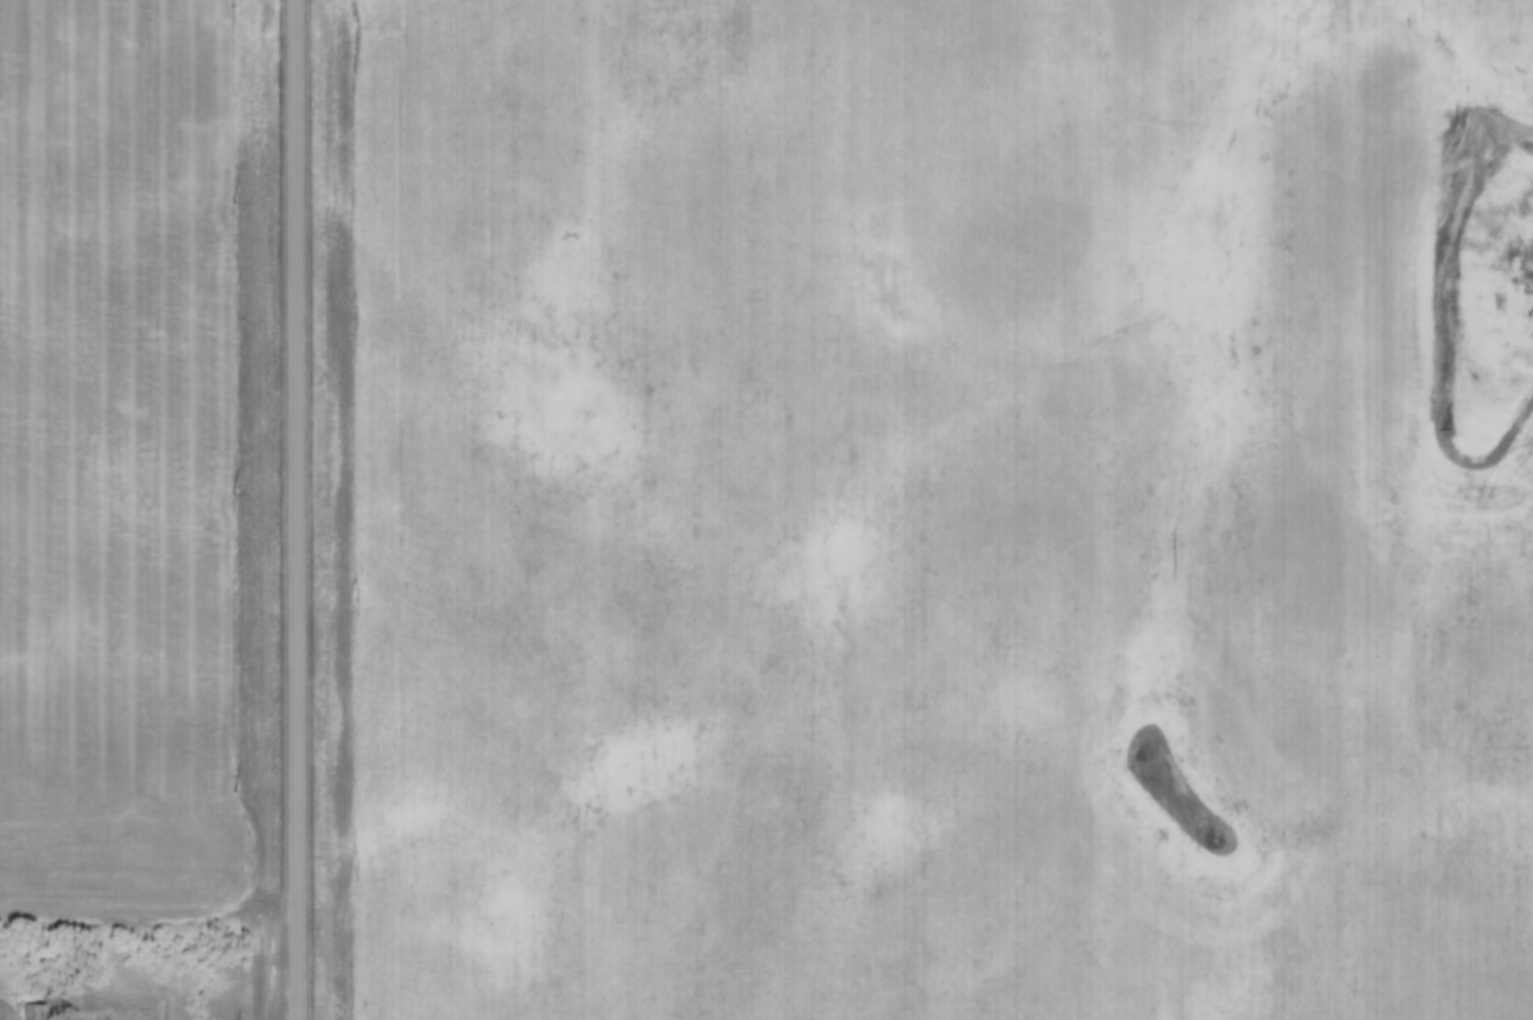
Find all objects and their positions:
road: (299, 509)
road: (150, 908)

